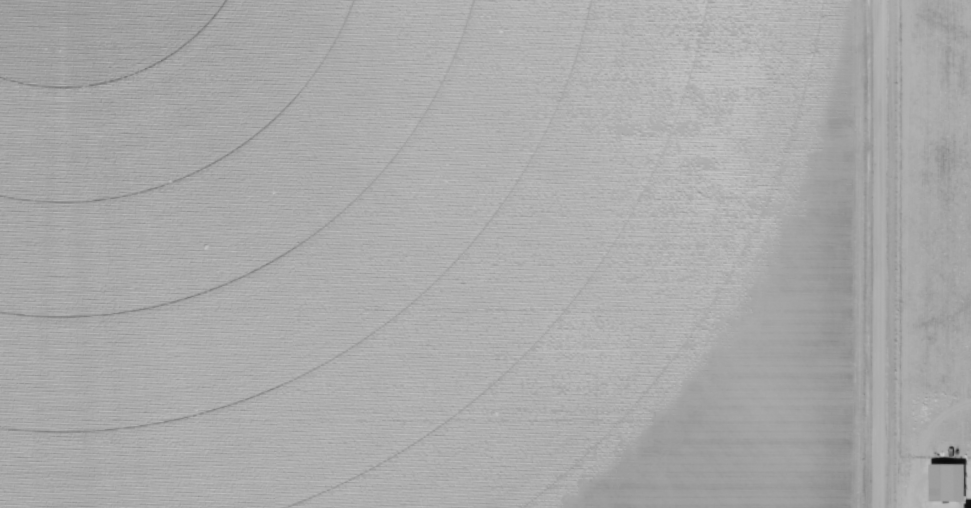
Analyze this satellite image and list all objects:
road: (884, 254)

